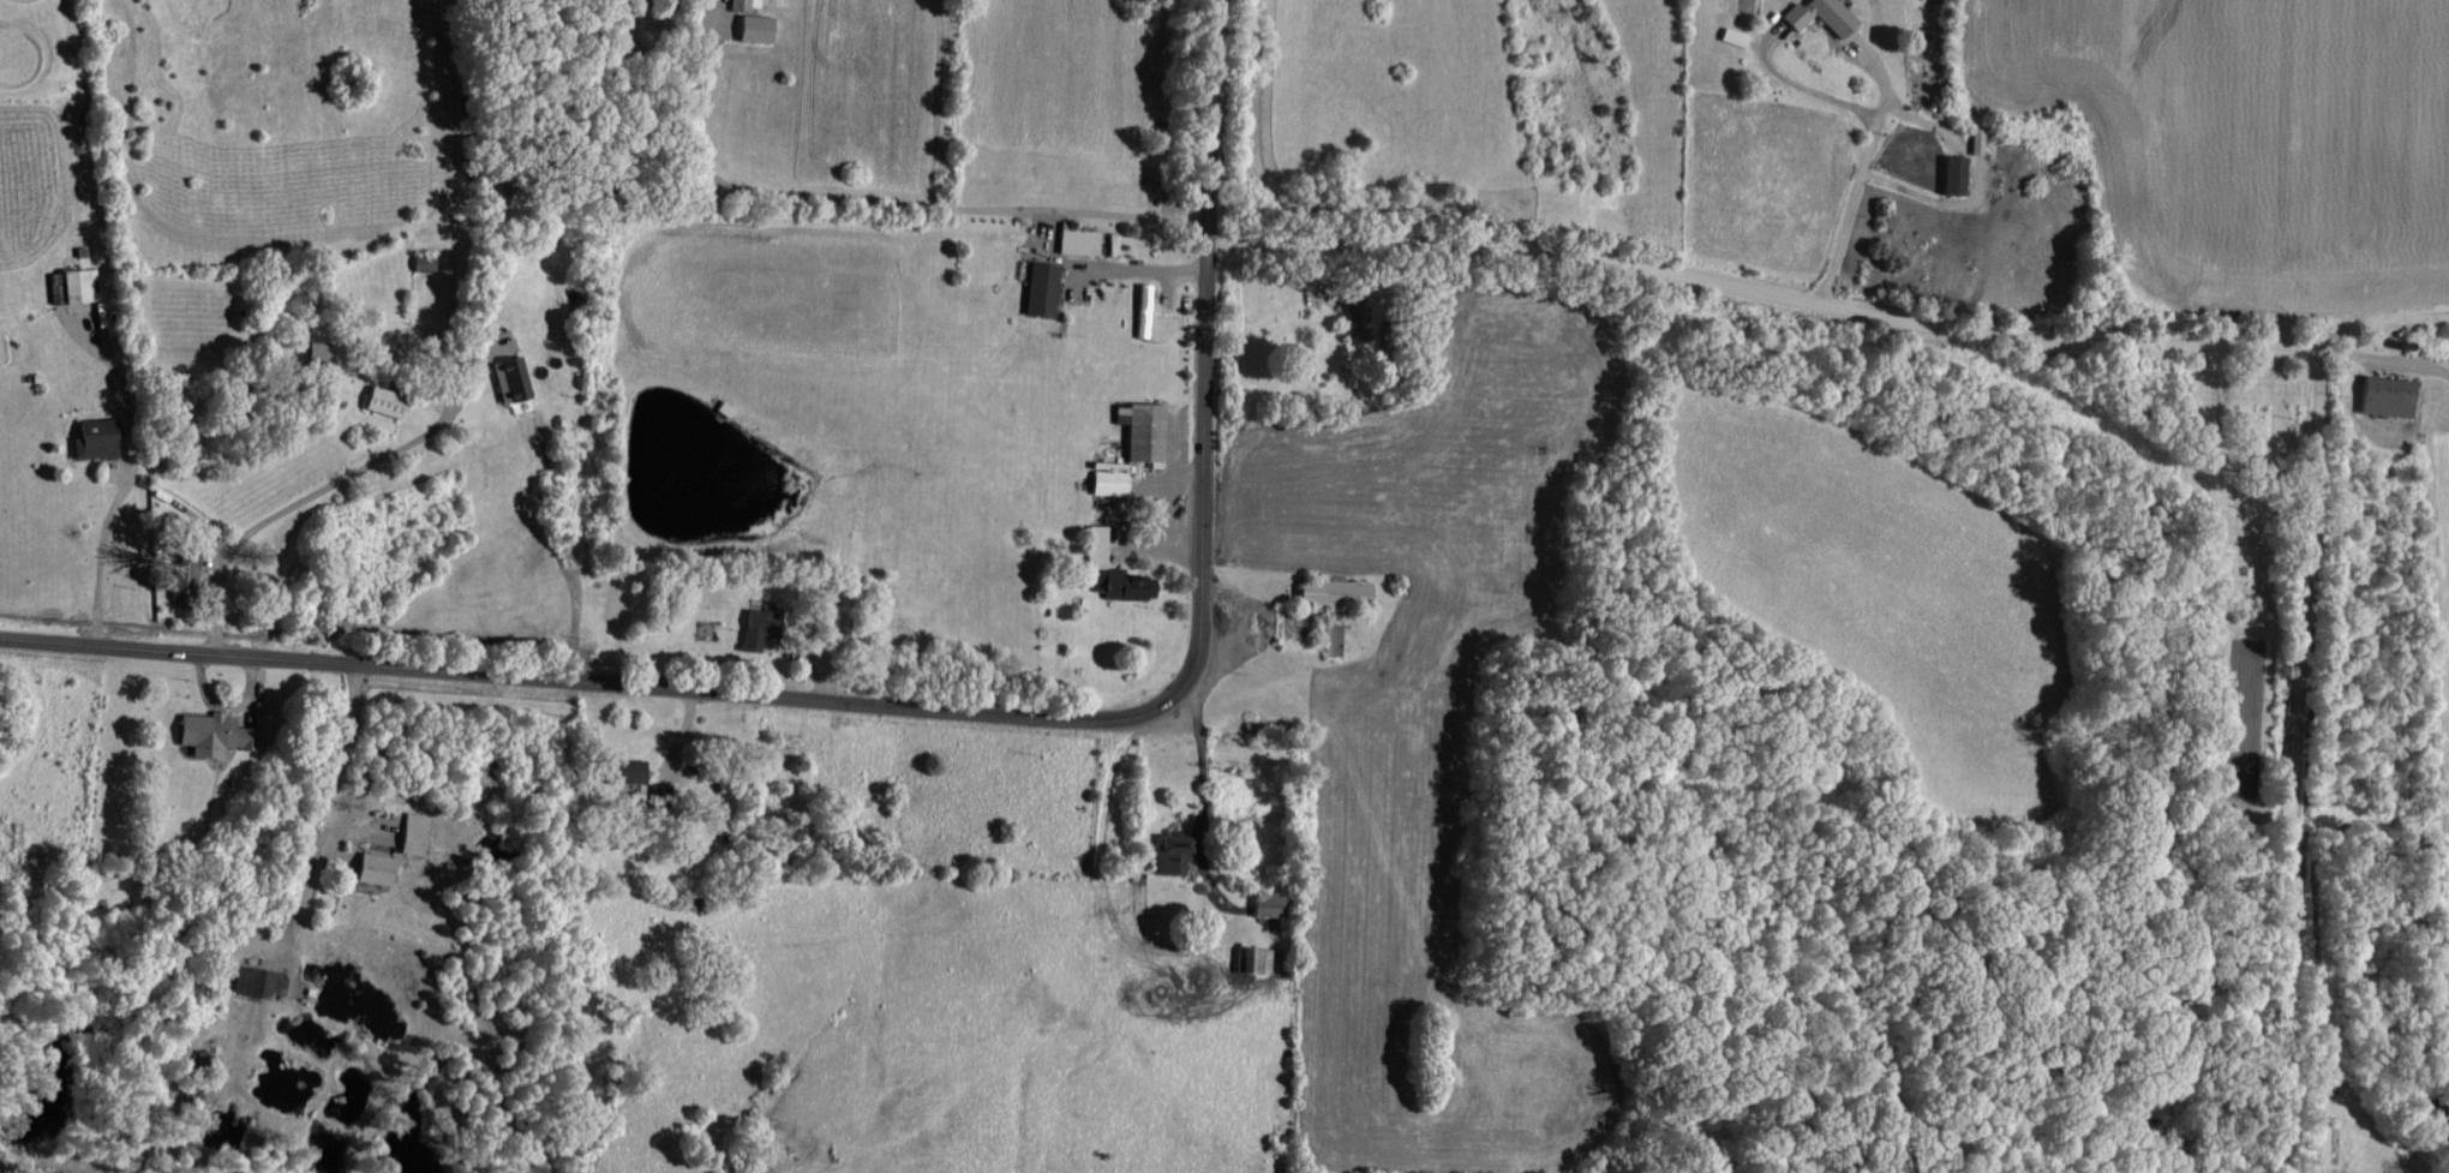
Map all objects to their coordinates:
building: (743, 4)
building: (1815, 14)
building: (752, 26)
road: (1860, 173)
building: (1948, 173)
building: (1076, 240)
building: (73, 283)
building: (1037, 288)
road: (1756, 289)
building: (1140, 309)
road: (1204, 349)
building: (309, 351)
road: (2376, 358)
building: (507, 378)
building: (2382, 395)
building: (379, 400)
building: (1142, 432)
building: (89, 437)
building: (1107, 477)
road: (310, 493)
road: (113, 505)
building: (1110, 569)
building: (180, 576)
building: (1329, 603)
building: (827, 617)
building: (752, 627)
road: (591, 684)
building: (205, 732)
road: (2294, 762)
building: (621, 770)
road: (331, 803)
building: (409, 832)
building: (1170, 851)
building: (370, 867)
building: (1265, 904)
building: (256, 980)
building: (2317, 1139)

